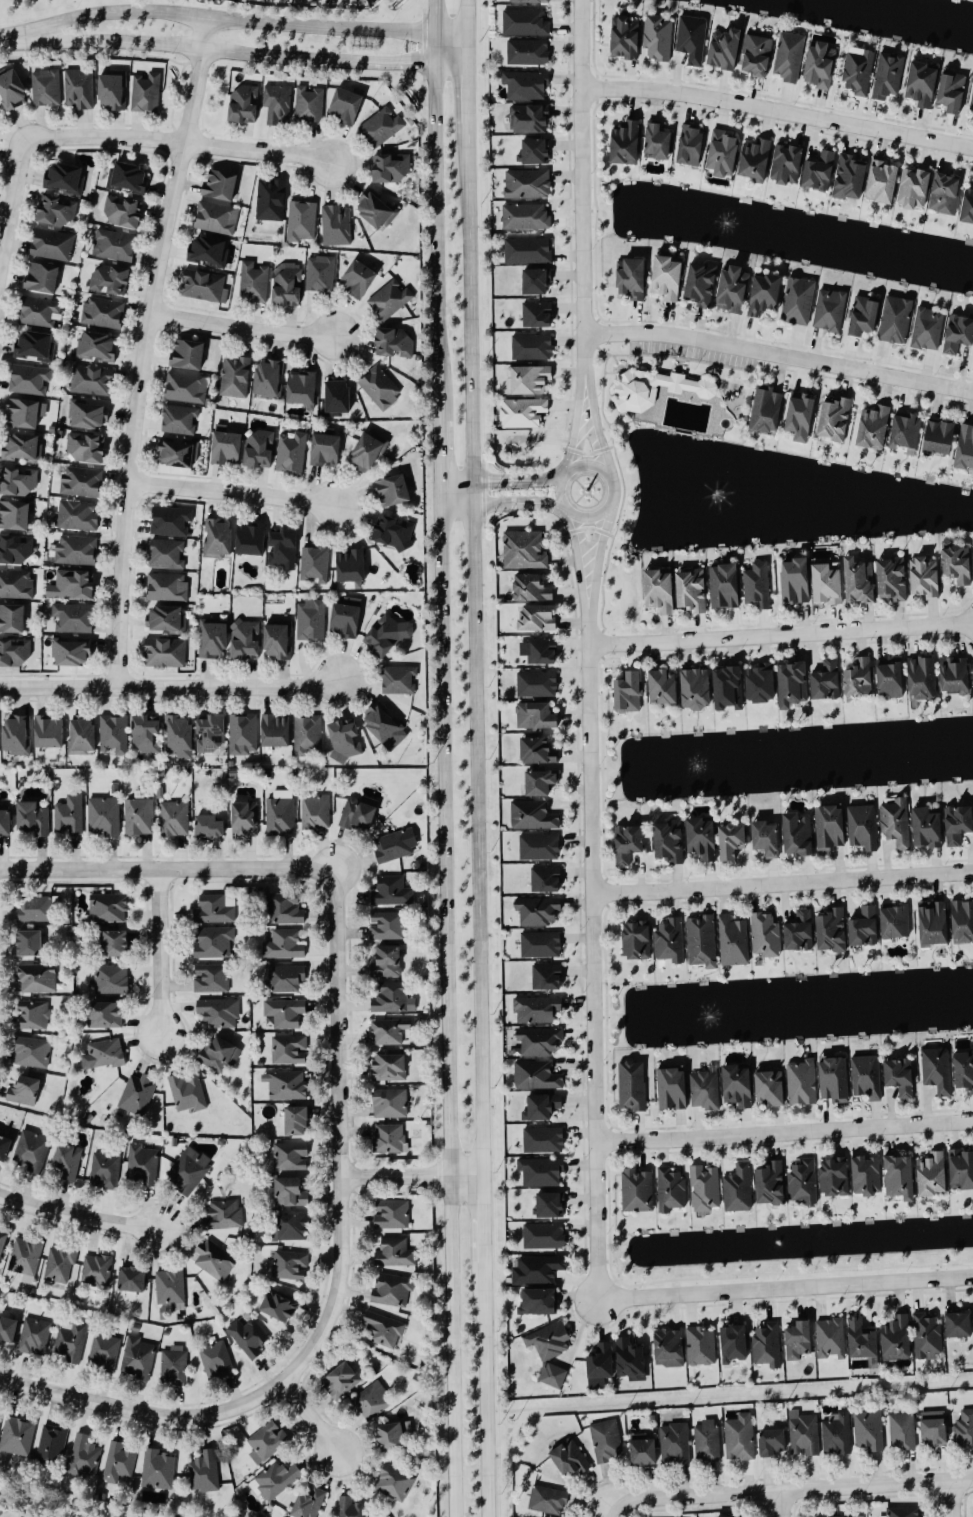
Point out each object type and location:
building: (530, 1)
road: (433, 15)
road: (467, 16)
road: (227, 19)
building: (526, 23)
road: (450, 32)
building: (658, 37)
road: (13, 38)
building: (625, 38)
building: (693, 38)
building: (724, 48)
road: (433, 49)
road: (229, 50)
road: (467, 50)
building: (528, 52)
building: (756, 54)
building: (790, 56)
building: (821, 64)
road: (450, 67)
building: (859, 72)
building: (888, 75)
building: (922, 83)
building: (527, 85)
building: (47, 88)
building: (80, 88)
building: (12, 89)
building: (112, 91)
building: (952, 91)
building: (147, 92)
building: (244, 104)
building: (278, 104)
building: (309, 105)
building: (345, 106)
road: (468, 106)
building: (972, 108)
road: (776, 113)
building: (530, 118)
building: (382, 127)
road: (103, 137)
building: (658, 141)
building: (625, 143)
building: (690, 145)
building: (535, 150)
building: (723, 153)
building: (755, 159)
building: (787, 164)
building: (392, 167)
building: (819, 171)
building: (65, 177)
building: (128, 178)
building: (849, 178)
building: (882, 182)
building: (528, 184)
building: (219, 185)
building: (914, 188)
building: (945, 193)
road: (581, 194)
building: (271, 199)
building: (968, 206)
building: (57, 211)
building: (375, 211)
building: (123, 212)
building: (526, 217)
building: (217, 218)
building: (302, 221)
fountain: (724, 224)
building: (337, 225)
road: (435, 244)
building: (52, 245)
building: (114, 245)
building: (208, 250)
building: (528, 250)
building: (320, 273)
building: (41, 277)
building: (357, 278)
building: (632, 278)
building: (667, 278)
building: (110, 279)
building: (536, 281)
building: (253, 282)
building: (701, 283)
building: (287, 285)
building: (204, 286)
building: (732, 289)
building: (764, 294)
building: (390, 299)
building: (799, 300)
building: (830, 310)
building: (40, 312)
building: (104, 313)
building: (537, 315)
building: (864, 315)
building: (896, 320)
road: (246, 329)
building: (928, 329)
building: (958, 333)
building: (394, 343)
building: (37, 346)
building: (98, 346)
building: (533, 347)
road: (148, 350)
building: (188, 354)
road: (779, 355)
building: (236, 377)
building: (269, 378)
building: (30, 379)
building: (92, 380)
building: (528, 380)
building: (380, 387)
building: (187, 388)
building: (657, 388)
building: (337, 396)
building: (766, 409)
building: (523, 412)
building: (25, 413)
building: (89, 416)
building: (800, 416)
building: (835, 419)
building: (180, 420)
building: (874, 427)
road: (574, 431)
building: (906, 431)
road: (600, 435)
building: (939, 437)
building: (225, 445)
building: (22, 447)
building: (87, 448)
building: (259, 448)
building: (965, 449)
building: (325, 450)
building: (367, 451)
building: (291, 452)
building: (177, 453)
road: (440, 457)
road: (502, 480)
building: (17, 482)
building: (82, 482)
building: (392, 491)
road: (235, 495)
fountain: (736, 497)
road: (503, 503)
road: (586, 512)
building: (14, 515)
building: (78, 515)
building: (170, 521)
building: (394, 532)
building: (218, 538)
building: (251, 540)
road: (602, 545)
building: (282, 546)
building: (15, 549)
road: (576, 549)
building: (76, 550)
building: (525, 550)
building: (167, 554)
building: (316, 564)
building: (957, 564)
building: (351, 566)
building: (925, 577)
building: (892, 579)
building: (795, 581)
building: (859, 581)
building: (827, 584)
building: (16, 585)
building: (72, 585)
building: (758, 585)
building: (724, 586)
building: (167, 587)
building: (531, 588)
building: (659, 591)
building: (691, 591)
building: (73, 618)
building: (346, 618)
building: (538, 618)
building: (12, 619)
building: (166, 619)
building: (311, 620)
building: (388, 635)
road: (780, 636)
building: (213, 640)
building: (245, 640)
building: (277, 642)
building: (540, 651)
building: (15, 653)
building: (72, 653)
building: (165, 653)
road: (475, 659)
building: (955, 675)
building: (922, 677)
building: (859, 678)
building: (890, 679)
building: (399, 680)
building: (826, 681)
building: (761, 683)
building: (792, 684)
building: (537, 685)
road: (172, 686)
building: (662, 686)
building: (728, 688)
building: (695, 689)
building: (627, 693)
building: (536, 716)
building: (384, 727)
building: (275, 731)
building: (48, 732)
building: (211, 733)
building: (146, 734)
building: (243, 734)
building: (307, 734)
building: (16, 735)
building: (114, 735)
building: (82, 736)
building: (180, 736)
building: (345, 740)
building: (537, 751)
fountain: (710, 764)
building: (540, 782)
building: (114, 789)
building: (316, 811)
building: (360, 813)
building: (70, 815)
building: (281, 815)
building: (533, 816)
building: (103, 817)
building: (139, 818)
building: (33, 819)
building: (175, 819)
building: (245, 819)
building: (5, 823)
building: (897, 823)
building: (958, 824)
building: (209, 827)
building: (863, 827)
building: (830, 828)
building: (927, 828)
road: (445, 834)
building: (797, 835)
building: (765, 838)
building: (701, 839)
building: (668, 841)
building: (731, 841)
building: (628, 844)
building: (395, 845)
building: (539, 847)
road: (168, 868)
building: (546, 880)
road: (782, 885)
building: (391, 892)
building: (108, 909)
building: (285, 909)
building: (33, 910)
building: (214, 910)
building: (538, 911)
building: (962, 921)
building: (895, 922)
building: (933, 924)
building: (387, 926)
building: (864, 928)
building: (832, 931)
building: (800, 932)
building: (766, 936)
building: (637, 940)
building: (671, 940)
building: (734, 941)
building: (702, 942)
building: (214, 943)
building: (29, 944)
building: (114, 944)
building: (284, 945)
building: (541, 945)
road: (592, 946)
road: (159, 954)
building: (387, 962)
building: (287, 978)
building: (547, 978)
building: (38, 979)
building: (212, 979)
building: (112, 980)
building: (393, 999)
building: (537, 1010)
building: (219, 1013)
building: (285, 1013)
building: (34, 1015)
building: (105, 1016)
fountain: (714, 1016)
building: (389, 1031)
building: (540, 1041)
building: (290, 1050)
building: (32, 1053)
building: (104, 1055)
building: (219, 1055)
building: (389, 1068)
building: (938, 1070)
building: (964, 1073)
building: (537, 1076)
building: (868, 1077)
building: (900, 1077)
building: (834, 1080)
building: (802, 1083)
building: (286, 1085)
building: (633, 1086)
building: (737, 1086)
building: (770, 1088)
building: (672, 1089)
building: (706, 1090)
building: (24, 1092)
building: (188, 1092)
building: (138, 1095)
building: (391, 1103)
building: (542, 1108)
building: (296, 1121)
road: (784, 1131)
road: (340, 1133)
building: (389, 1139)
building: (544, 1141)
building: (221, 1142)
building: (4, 1148)
building: (31, 1152)
building: (291, 1157)
building: (68, 1162)
building: (143, 1164)
building: (961, 1169)
building: (106, 1170)
building: (189, 1170)
building: (542, 1172)
road: (467, 1175)
building: (932, 1175)
road: (395, 1176)
building: (867, 1176)
building: (834, 1177)
building: (900, 1178)
building: (803, 1182)
building: (770, 1184)
building: (705, 1189)
building: (739, 1189)
building: (671, 1190)
building: (638, 1191)
building: (290, 1193)
building: (550, 1206)
road: (81, 1212)
road: (483, 1213)
building: (224, 1215)
building: (392, 1215)
building: (293, 1228)
building: (545, 1236)
building: (2, 1241)
fountain: (779, 1244)
building: (396, 1253)
building: (26, 1259)
building: (215, 1261)
building: (60, 1265)
building: (290, 1266)
building: (538, 1270)
building: (97, 1271)
building: (132, 1280)
road: (786, 1288)
building: (171, 1289)
building: (392, 1290)
building: (539, 1302)
building: (278, 1307)
building: (959, 1326)
building: (7, 1330)
building: (384, 1330)
building: (35, 1336)
building: (927, 1336)
building: (249, 1338)
building: (831, 1339)
building: (861, 1340)
building: (897, 1340)
building: (799, 1341)
building: (72, 1343)
building: (734, 1344)
building: (768, 1345)
road: (451, 1346)
building: (701, 1347)
building: (669, 1348)
building: (550, 1352)
building: (105, 1353)
building: (139, 1358)
building: (217, 1358)
building: (601, 1363)
building: (175, 1365)
building: (341, 1381)
road: (485, 1384)
building: (373, 1401)
road: (143, 1412)
road: (310, 1415)
building: (0, 1423)
building: (964, 1430)
building: (870, 1432)
building: (935, 1432)
building: (902, 1433)
building: (804, 1435)
building: (837, 1435)
building: (18, 1437)
building: (390, 1438)
building: (739, 1438)
building: (609, 1441)
building: (707, 1441)
building: (268, 1442)
building: (773, 1443)
building: (675, 1444)
building: (52, 1445)
building: (643, 1453)
building: (85, 1457)
building: (569, 1460)
building: (118, 1463)
building: (158, 1470)
building: (205, 1472)
building: (275, 1481)
building: (394, 1483)
road: (790, 1490)
road: (949, 1498)
building: (549, 1500)
building: (309, 1504)
road: (783, 1504)
building: (351, 1508)
road: (608, 1510)
building: (906, 1513)
building: (836, 1516)
building: (860, 1516)

